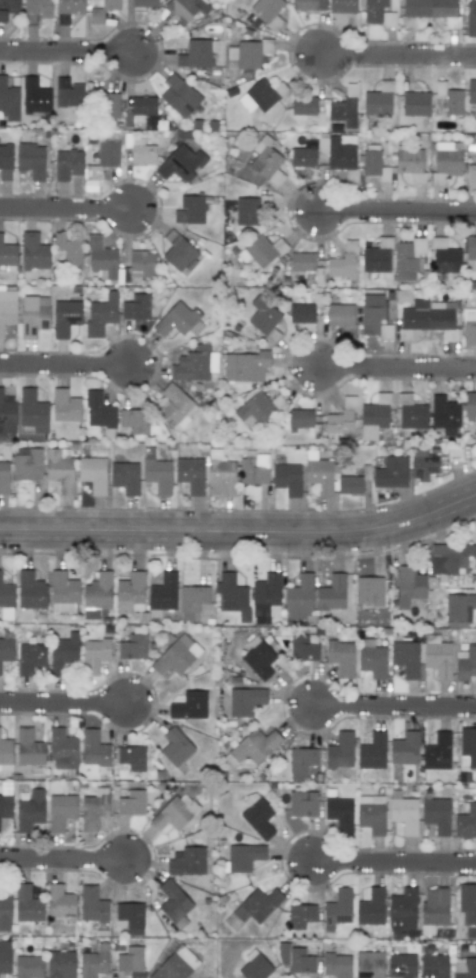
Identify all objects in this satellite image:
building: (144, 3)
building: (309, 5)
building: (343, 6)
building: (8, 8)
building: (184, 9)
building: (37, 10)
building: (68, 10)
building: (103, 11)
building: (268, 11)
building: (431, 11)
building: (379, 13)
building: (471, 19)
road: (69, 50)
building: (197, 54)
building: (247, 54)
road: (398, 55)
building: (471, 91)
building: (68, 94)
building: (262, 95)
building: (35, 96)
building: (179, 96)
building: (8, 100)
building: (378, 101)
building: (450, 101)
building: (416, 103)
building: (108, 105)
building: (304, 106)
building: (345, 108)
building: (342, 153)
building: (303, 157)
building: (448, 158)
building: (31, 160)
building: (372, 160)
building: (266, 161)
building: (5, 162)
building: (181, 163)
building: (411, 163)
building: (67, 164)
building: (102, 164)
building: (471, 177)
road: (68, 208)
building: (191, 209)
building: (247, 211)
road: (397, 212)
building: (471, 247)
building: (69, 249)
building: (264, 250)
building: (34, 252)
building: (179, 252)
building: (7, 254)
building: (101, 257)
building: (377, 257)
building: (407, 258)
building: (446, 260)
building: (302, 262)
building: (343, 262)
building: (142, 264)
building: (475, 299)
building: (136, 307)
building: (7, 309)
building: (302, 313)
building: (101, 314)
building: (340, 314)
building: (34, 315)
building: (263, 315)
building: (429, 316)
building: (65, 317)
building: (375, 317)
building: (178, 321)
building: (469, 334)
road: (68, 363)
building: (194, 364)
road: (398, 365)
building: (246, 366)
building: (177, 405)
building: (65, 406)
building: (470, 406)
building: (99, 410)
building: (255, 410)
building: (33, 411)
building: (7, 413)
building: (445, 414)
building: (375, 415)
building: (301, 418)
building: (135, 420)
building: (340, 422)
building: (27, 463)
building: (423, 463)
building: (60, 468)
building: (254, 469)
building: (391, 472)
building: (93, 474)
building: (320, 474)
building: (158, 475)
building: (190, 475)
building: (125, 477)
building: (4, 478)
building: (287, 479)
building: (350, 485)
road: (241, 530)
building: (452, 558)
building: (409, 586)
building: (31, 591)
building: (98, 591)
building: (369, 591)
building: (63, 592)
building: (6, 593)
building: (130, 593)
building: (332, 593)
building: (162, 594)
building: (232, 595)
building: (266, 598)
building: (300, 598)
building: (192, 601)
building: (459, 610)
building: (94, 613)
building: (133, 647)
building: (304, 647)
building: (6, 649)
building: (63, 653)
building: (31, 655)
building: (95, 655)
building: (177, 656)
building: (437, 656)
building: (341, 657)
building: (406, 657)
building: (259, 658)
building: (373, 660)
building: (466, 664)
building: (245, 701)
road: (65, 704)
road: (397, 704)
building: (189, 706)
building: (175, 746)
building: (255, 746)
building: (404, 748)
building: (468, 748)
building: (29, 749)
building: (62, 749)
building: (94, 750)
building: (340, 751)
building: (373, 751)
building: (437, 752)
building: (132, 758)
building: (301, 763)
building: (5, 801)
building: (132, 803)
building: (303, 804)
building: (94, 809)
building: (30, 810)
building: (61, 810)
building: (175, 812)
building: (339, 812)
building: (371, 813)
building: (404, 814)
building: (437, 814)
building: (258, 815)
building: (466, 822)
building: (244, 857)
road: (65, 859)
building: (187, 861)
road: (397, 861)
building: (60, 902)
building: (27, 904)
building: (174, 904)
building: (467, 904)
building: (92, 905)
building: (257, 905)
building: (371, 908)
building: (338, 909)
building: (5, 912)
building: (302, 917)
building: (130, 918)
building: (5, 957)
building: (130, 959)
building: (295, 959)
building: (94, 962)
building: (61, 964)
building: (176, 965)
building: (337, 965)
building: (369, 965)
building: (28, 966)
building: (255, 966)
building: (401, 966)
building: (434, 966)
building: (464, 968)

